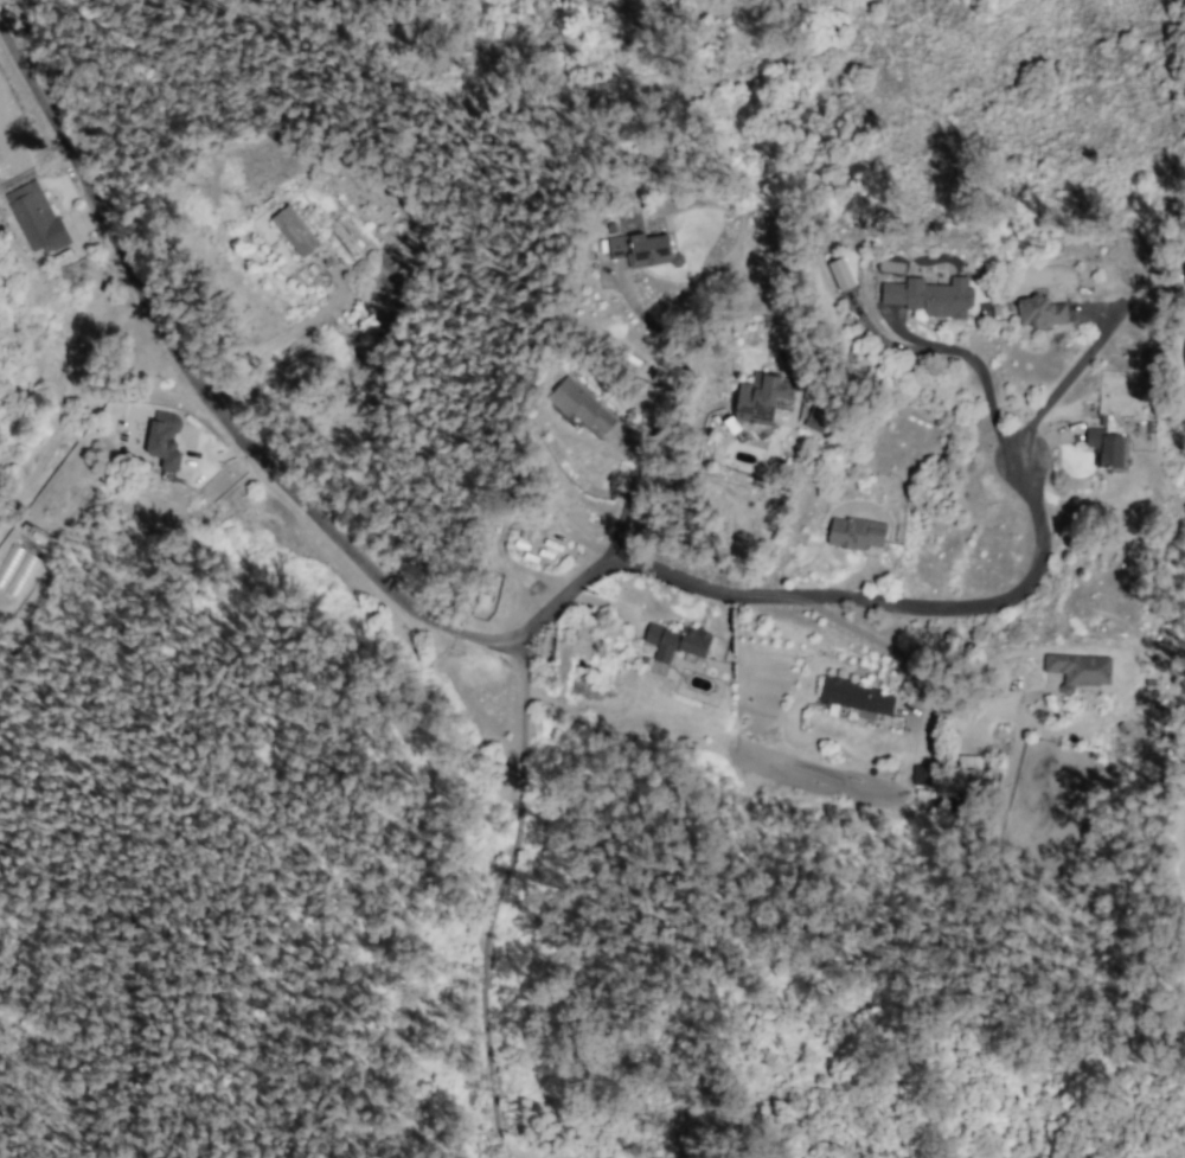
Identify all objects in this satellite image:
building: (36, 217)
building: (294, 231)
building: (928, 296)
building: (1040, 312)
road: (889, 343)
road: (980, 365)
road: (1070, 375)
building: (761, 397)
building: (581, 407)
building: (815, 420)
building: (164, 439)
building: (1104, 448)
road: (632, 494)
building: (854, 533)
road: (446, 618)
building: (675, 641)
building: (1078, 670)
building: (856, 697)
building: (967, 769)
building: (922, 776)
road: (520, 787)
road: (483, 1048)

